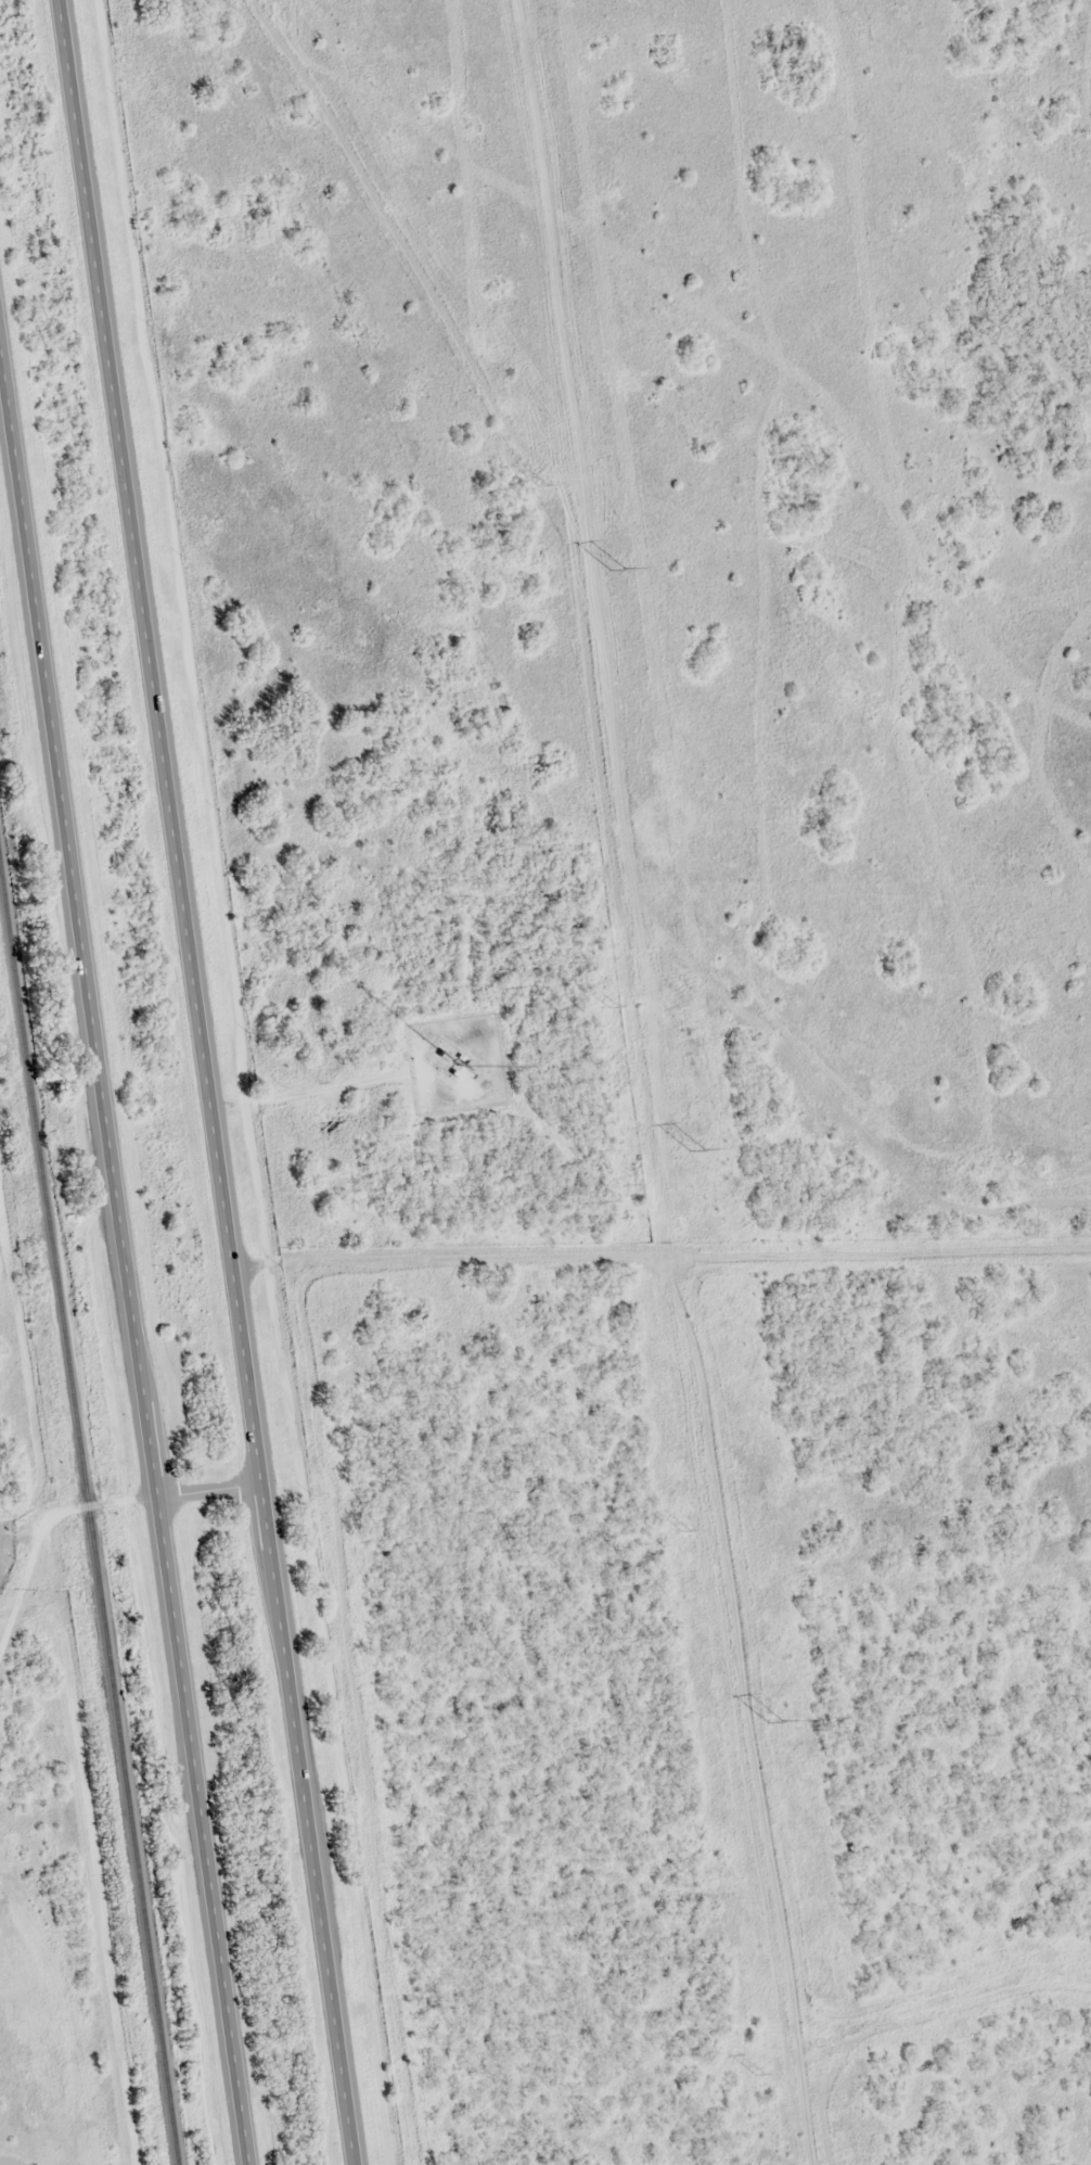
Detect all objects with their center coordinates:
power tower: (541, 485)
power tower: (614, 572)
road: (782, 859)
power tower: (612, 1006)
road: (210, 1082)
power tower: (693, 1151)
road: (121, 1256)
road: (211, 1489)
road: (40, 1527)
railway: (87, 1528)
power tower: (684, 1530)
road: (779, 1531)
power tower: (773, 1724)
power tower: (758, 2074)

